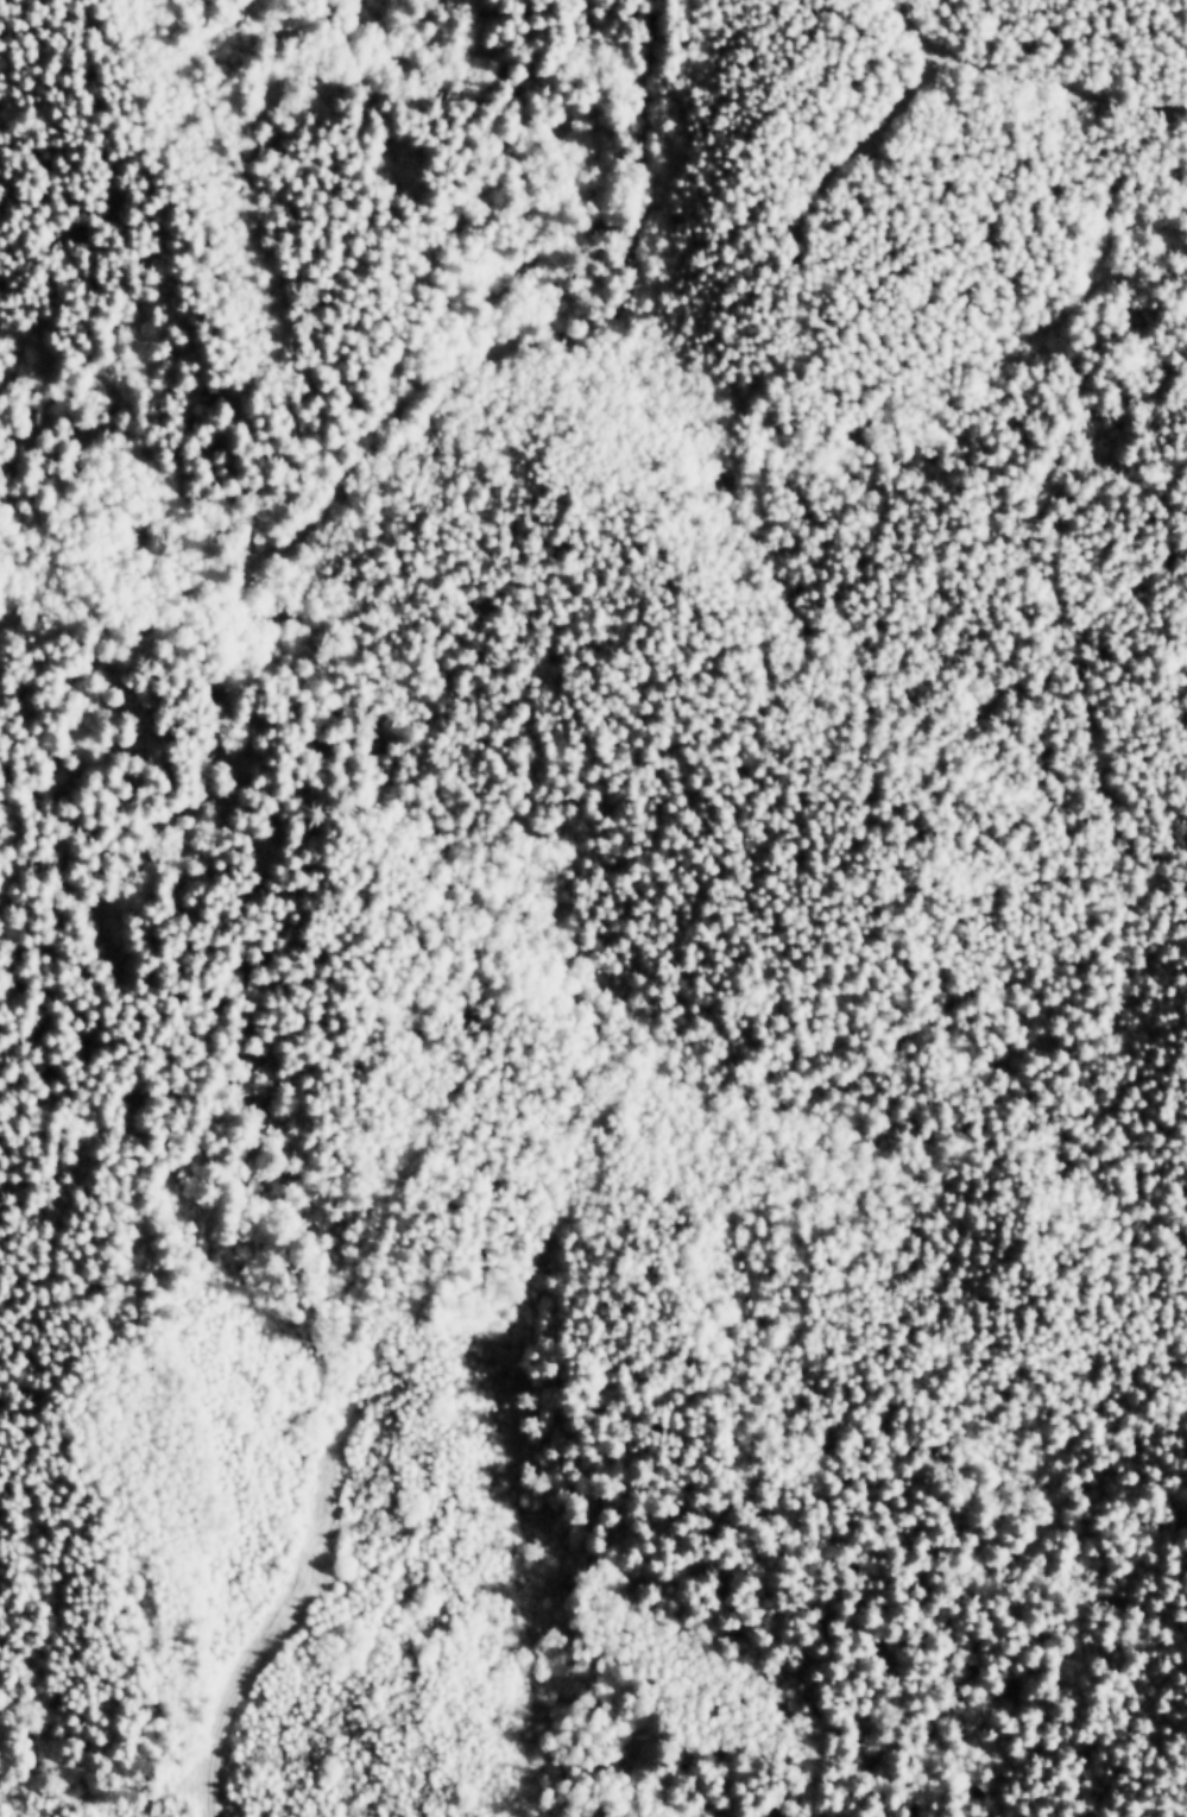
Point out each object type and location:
road: (1021, 90)
road: (839, 182)
road: (258, 245)
road: (417, 395)
road: (1073, 568)
road: (322, 1465)

